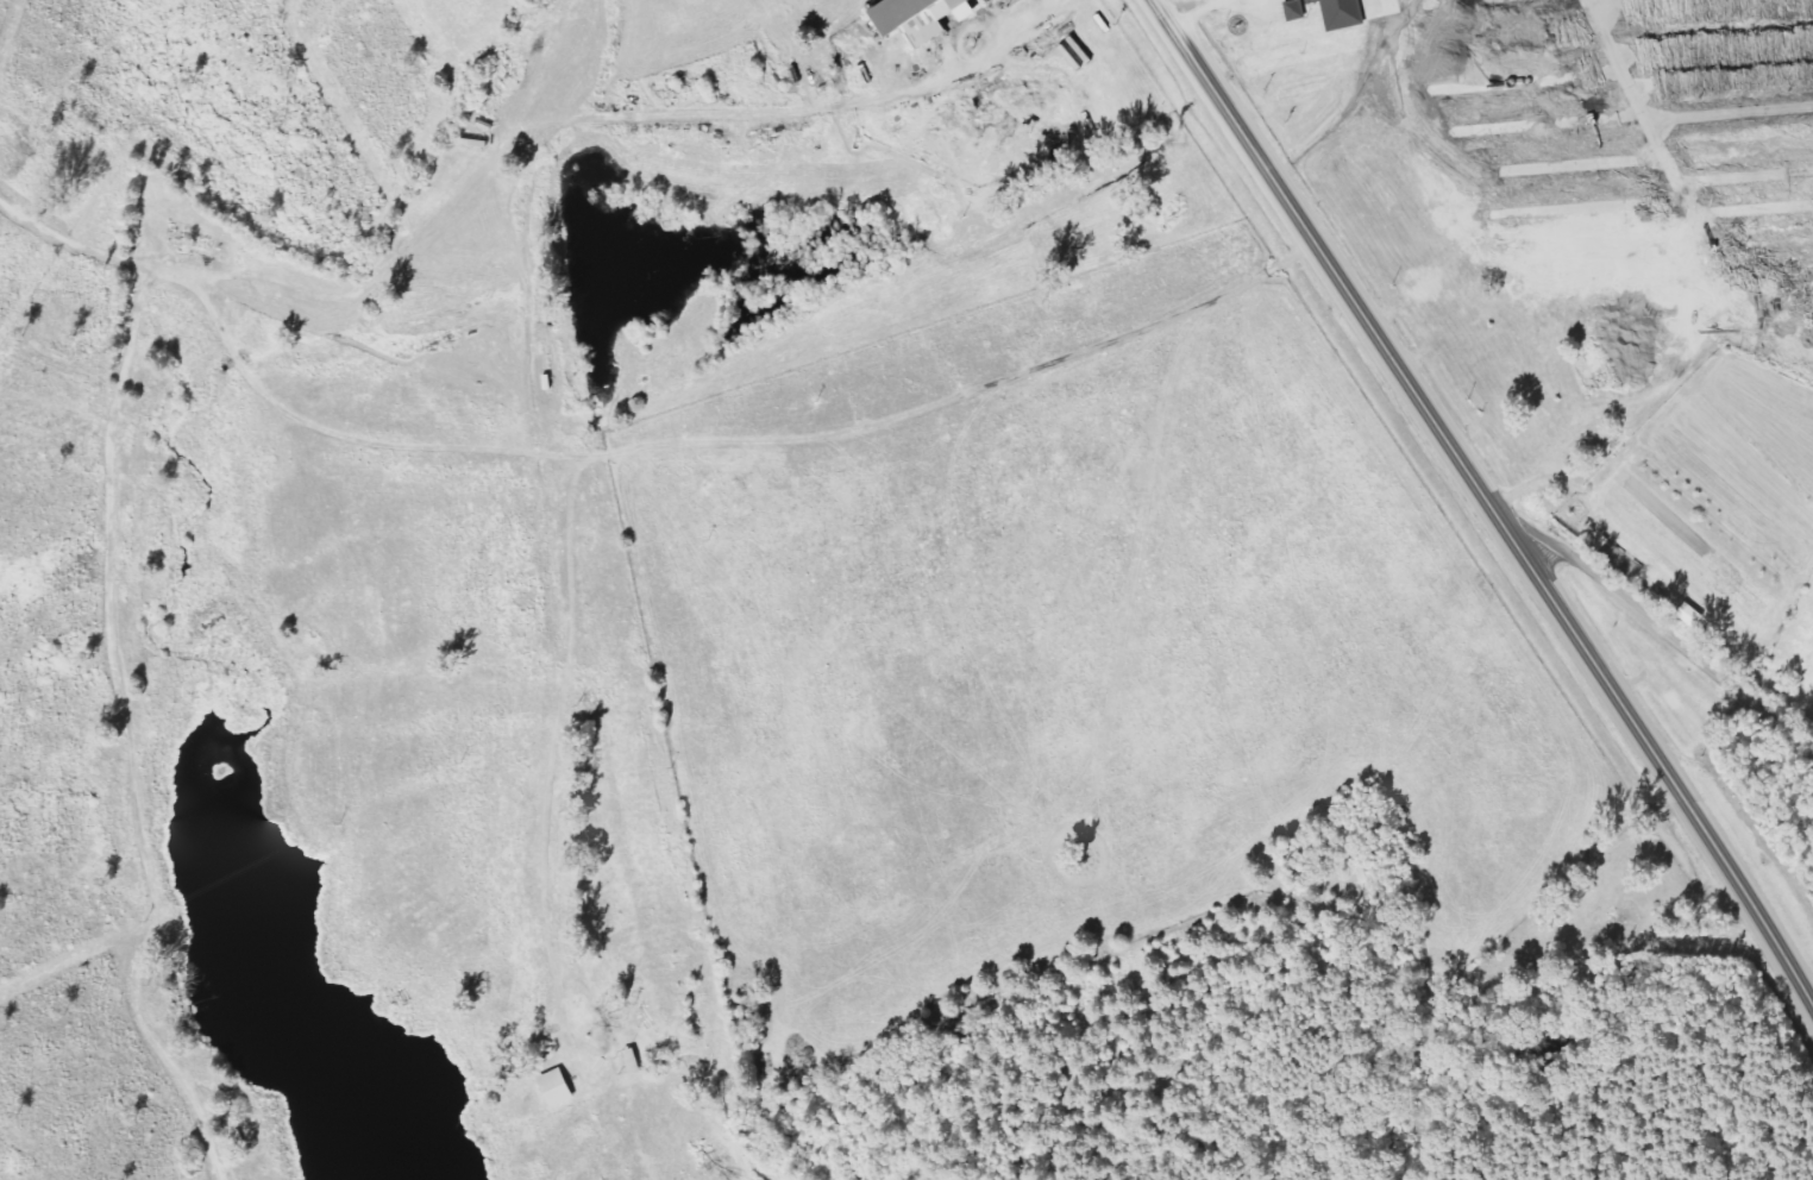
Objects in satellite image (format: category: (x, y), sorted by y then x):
road: (1178, 6)
building: (1334, 12)
building: (926, 18)
road: (1482, 494)
road: (1670, 634)
building: (562, 1087)

